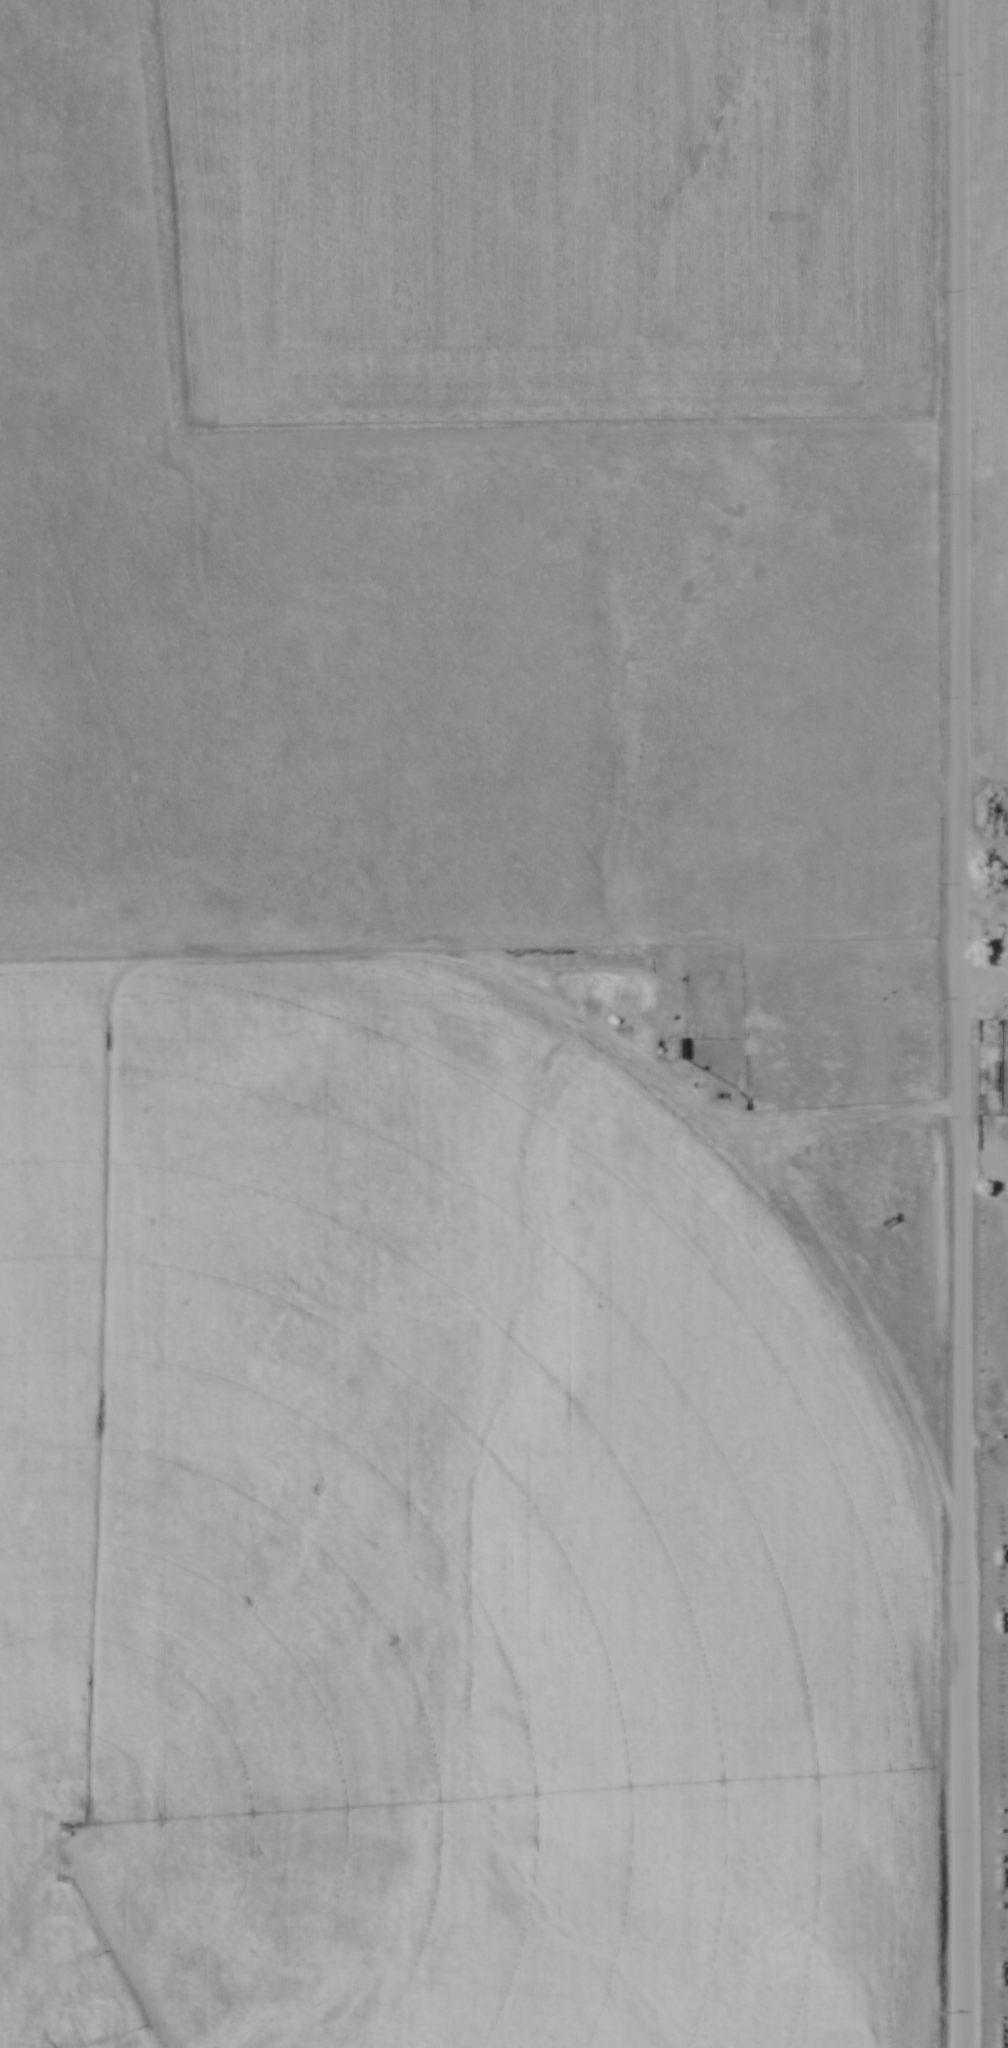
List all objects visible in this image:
building: (1006, 939)
road: (957, 1024)
building: (679, 1051)

